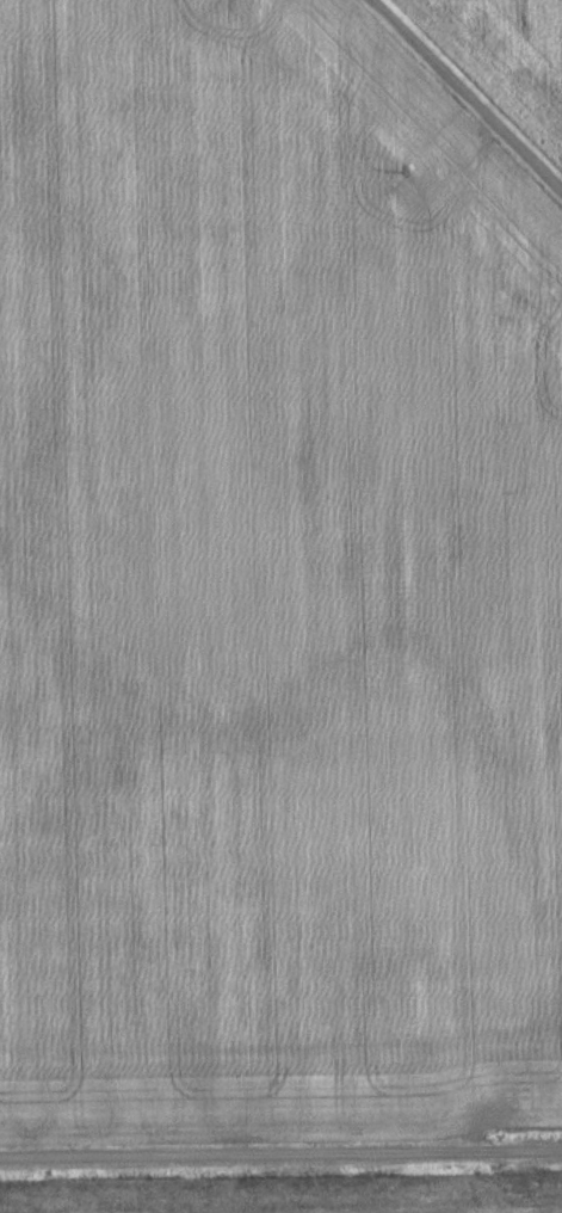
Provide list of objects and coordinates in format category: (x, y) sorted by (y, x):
road: (468, 94)
road: (280, 1147)

